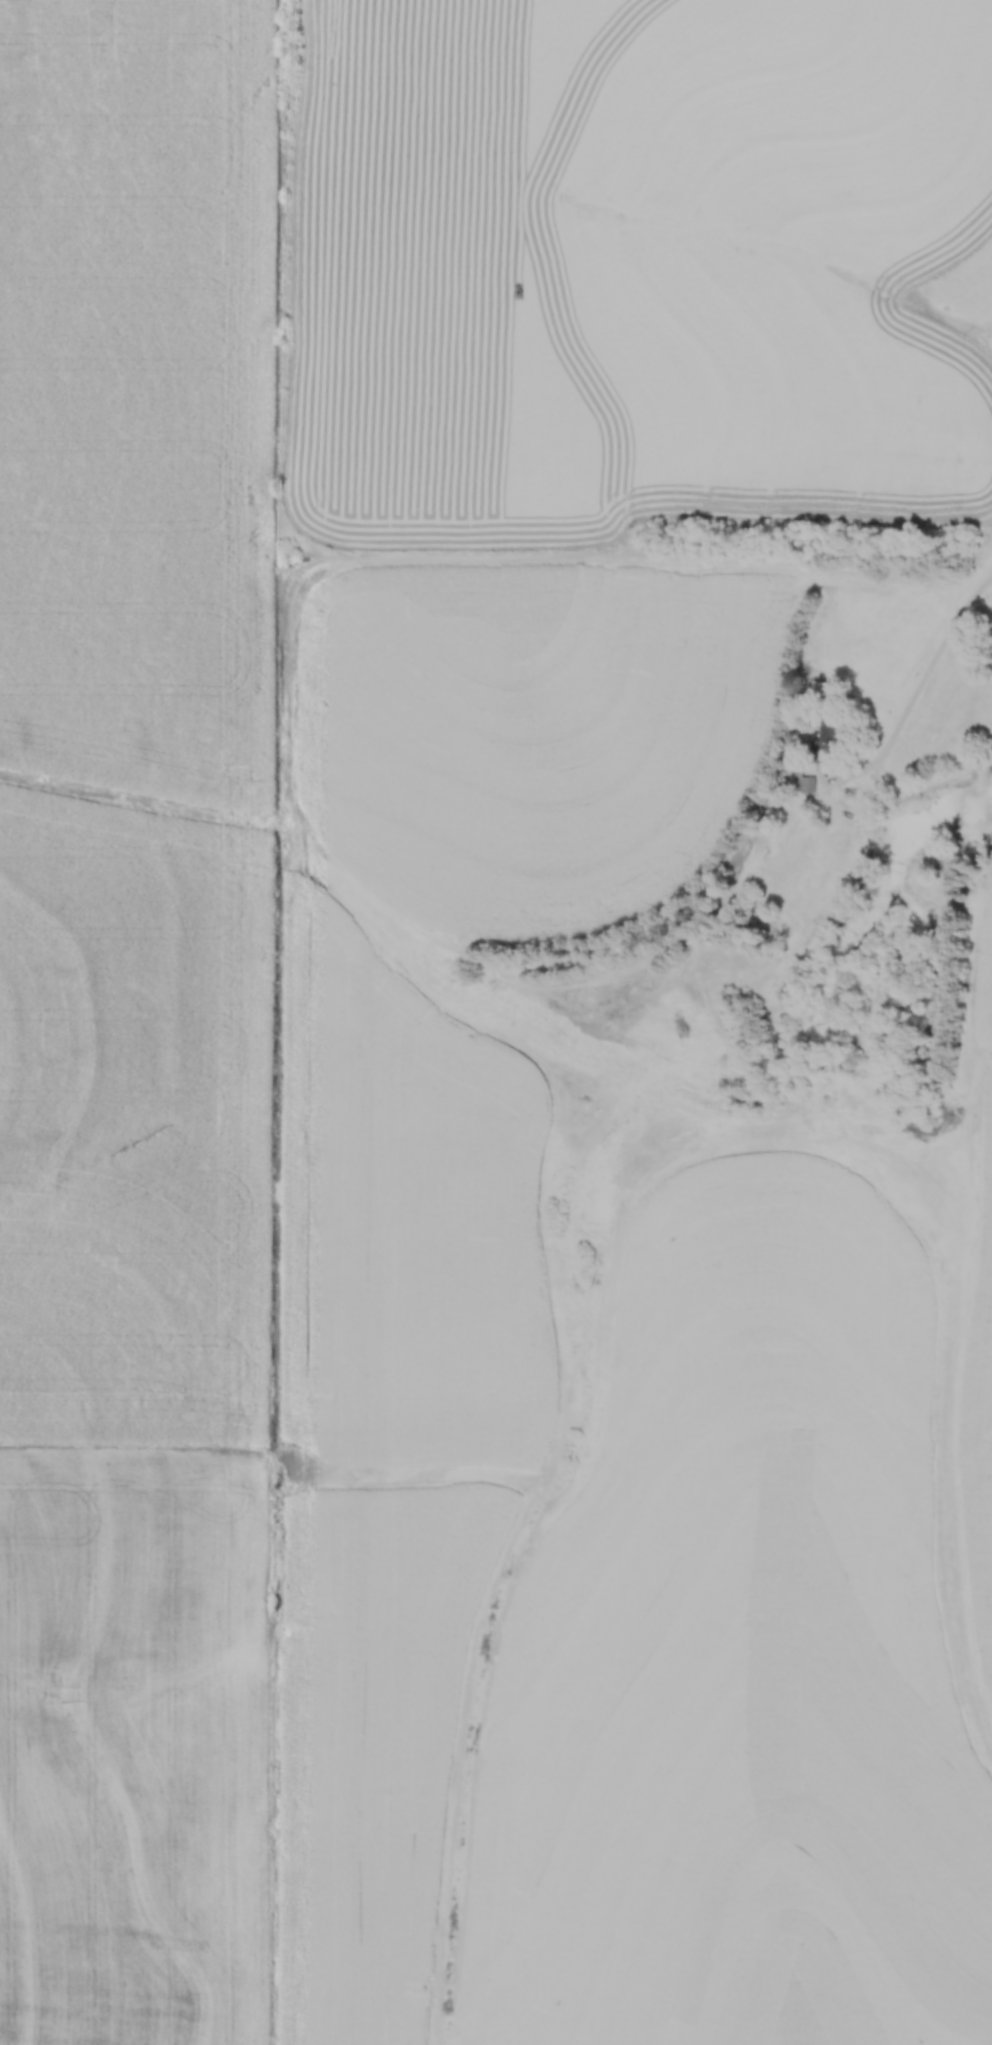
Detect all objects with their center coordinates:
road: (917, 694)
building: (825, 737)

